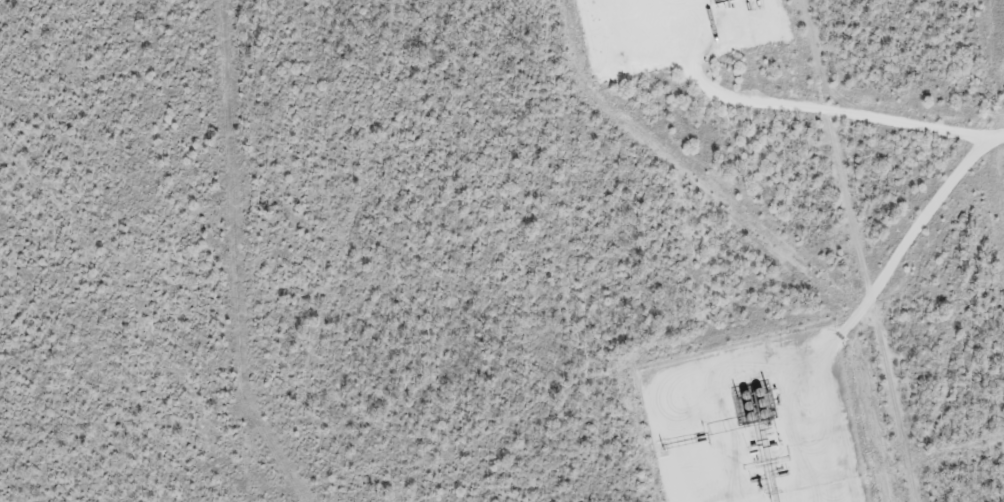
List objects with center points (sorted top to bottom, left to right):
road: (803, 116)
road: (830, 342)

